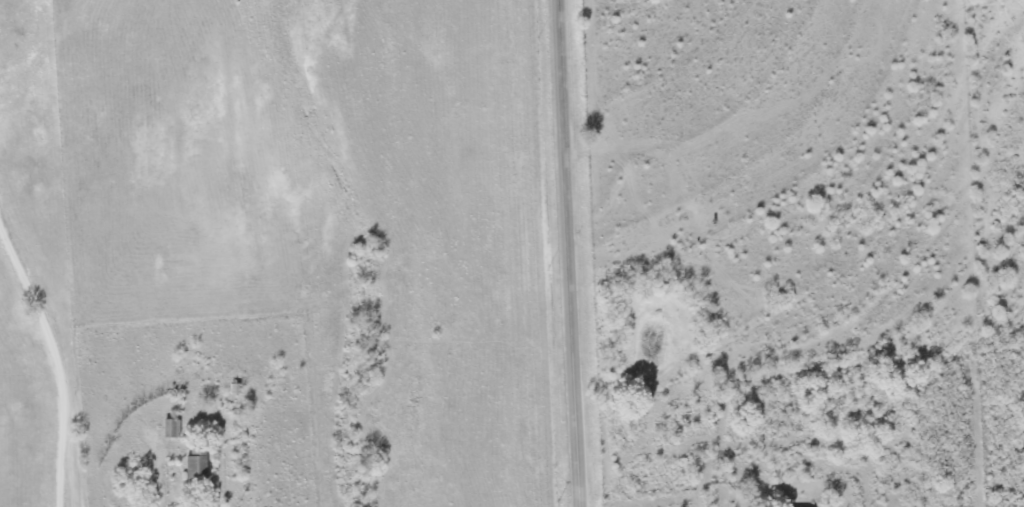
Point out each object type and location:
road: (577, 252)
road: (57, 360)
building: (170, 429)
building: (194, 469)
road: (158, 483)

